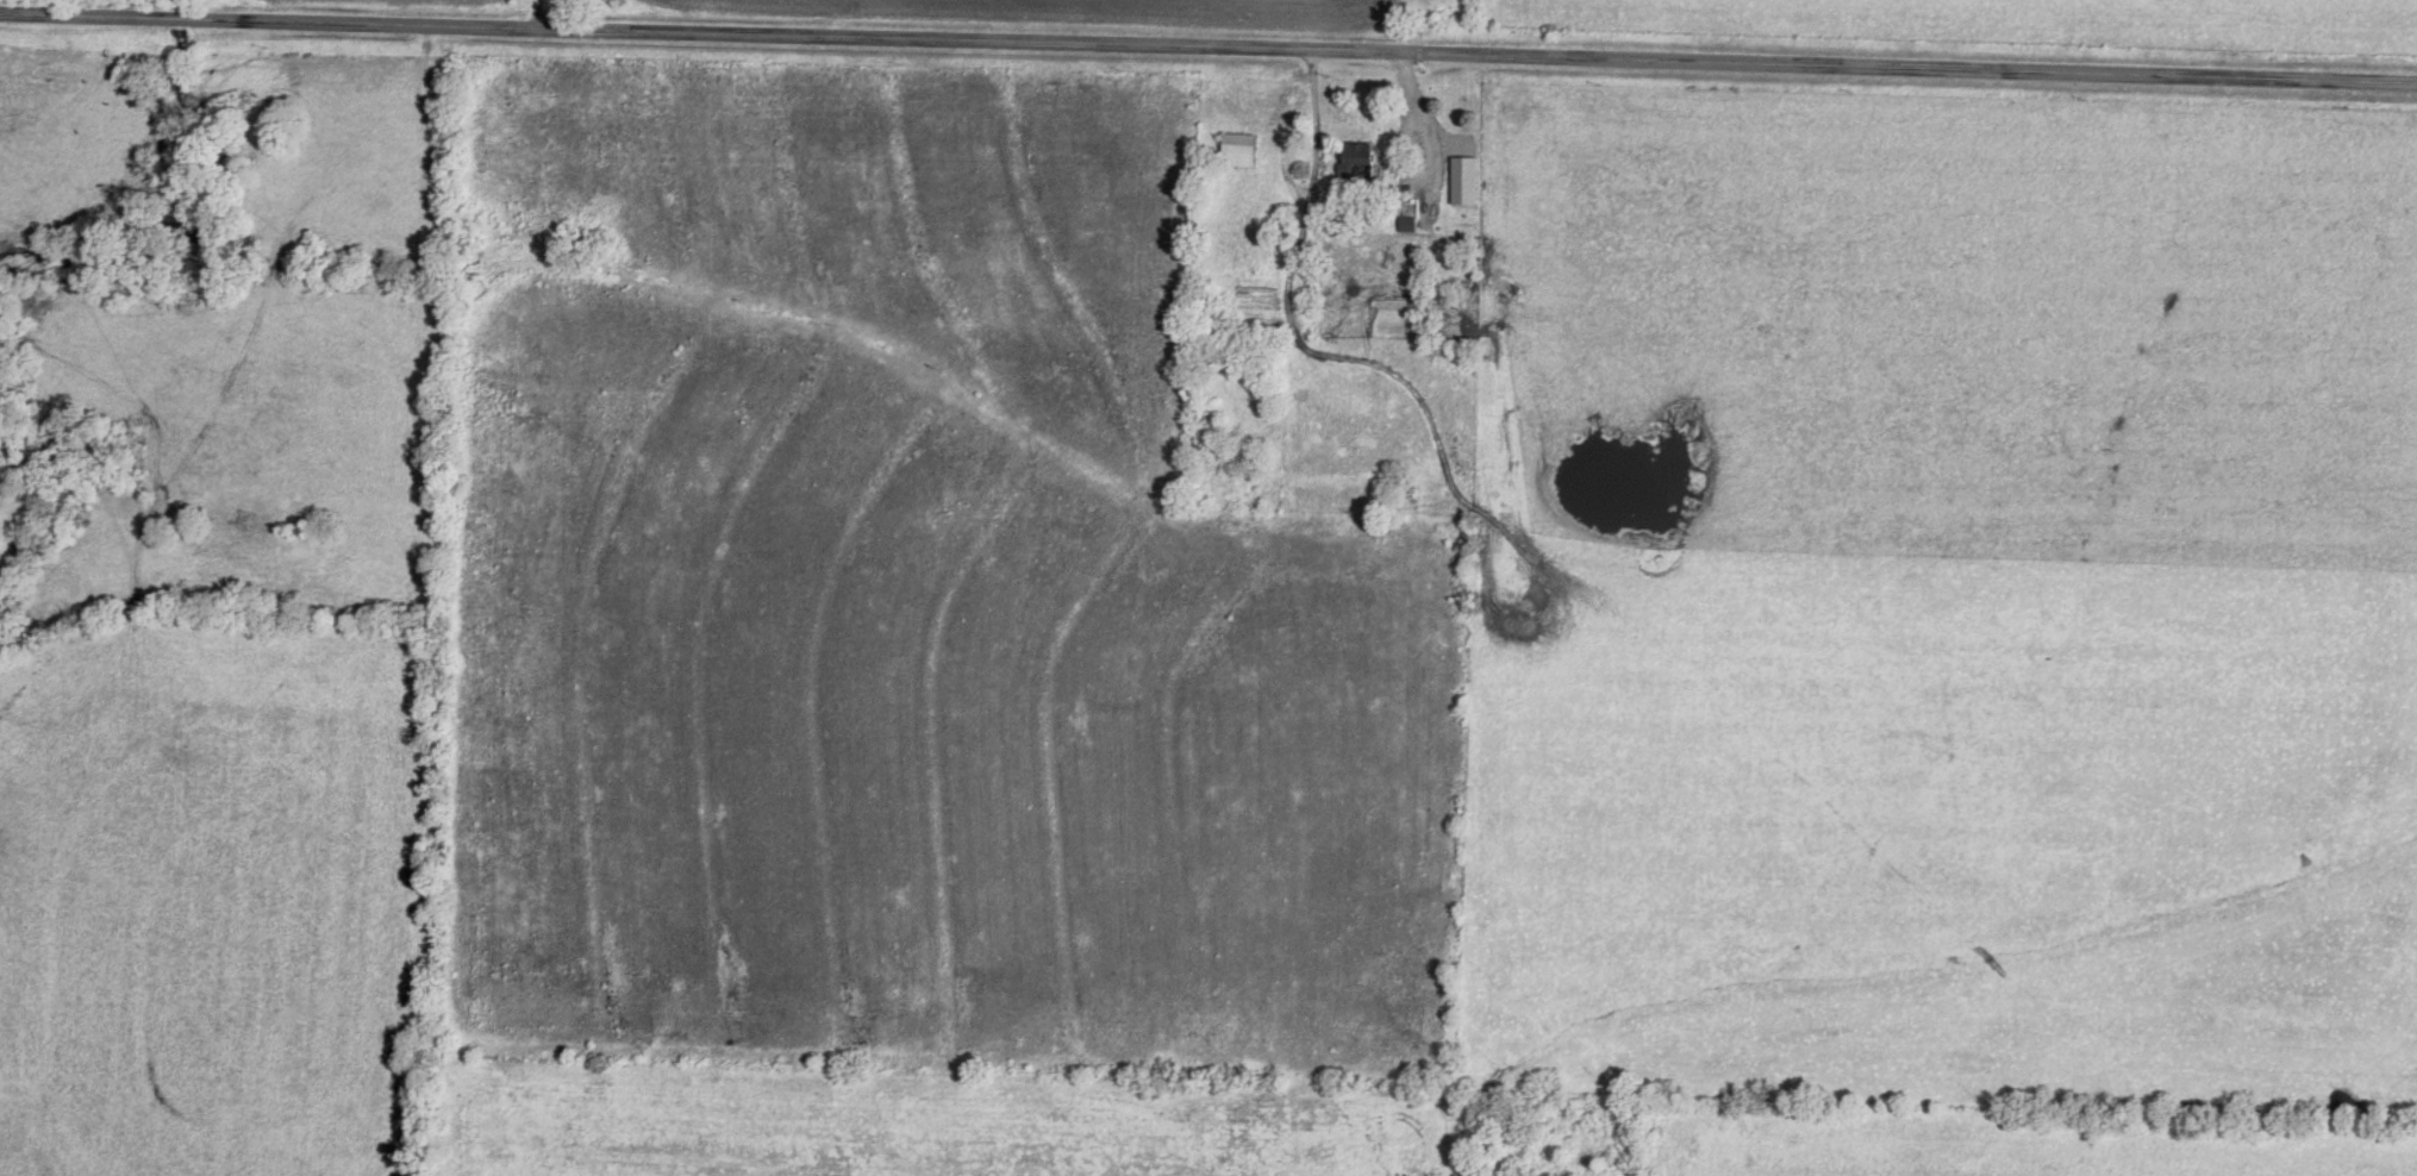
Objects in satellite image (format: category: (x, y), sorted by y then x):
crop: (21, 0)
road: (1208, 51)
building: (1237, 150)
building: (1360, 158)
building: (1284, 230)
crop: (904, 599)
crop: (2030, 1146)

